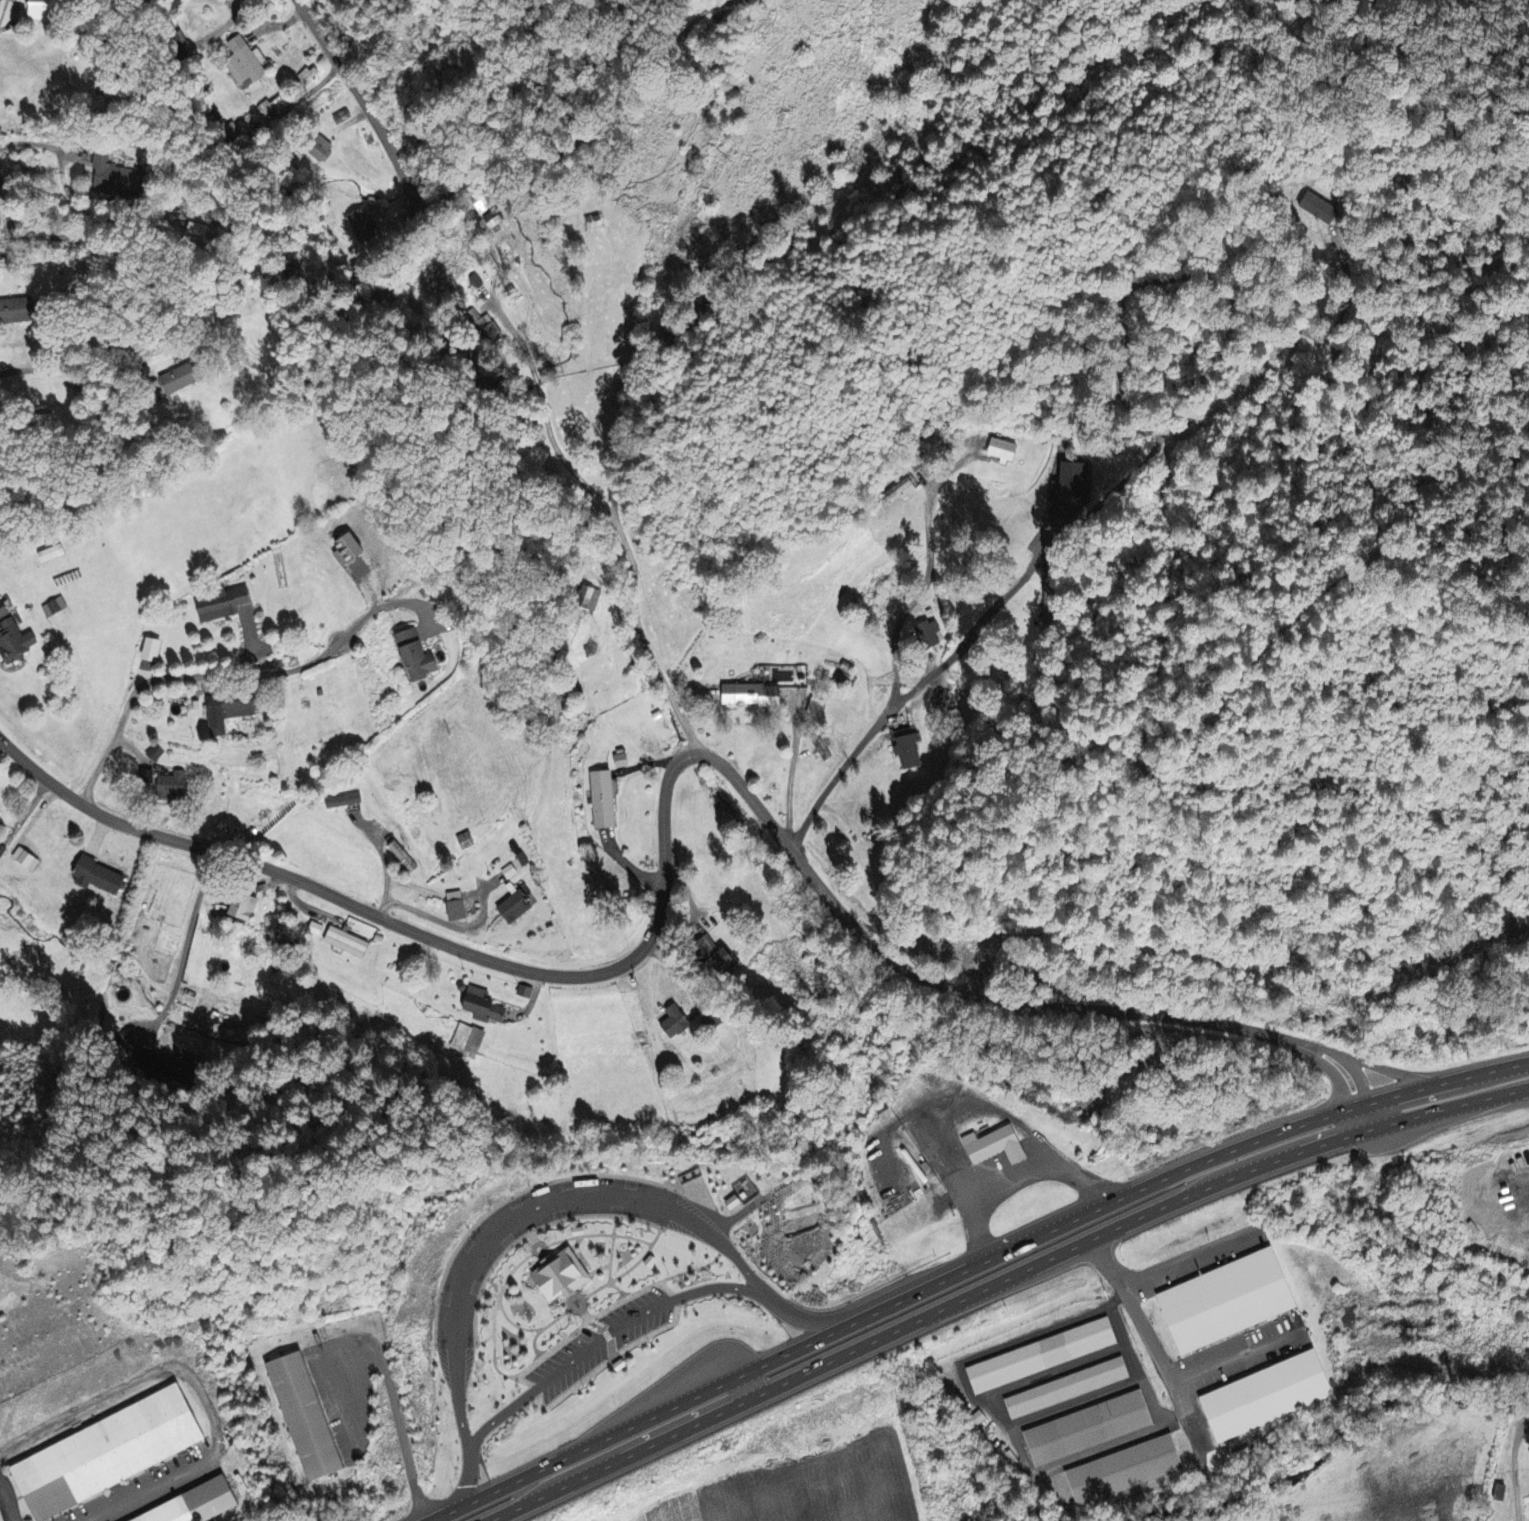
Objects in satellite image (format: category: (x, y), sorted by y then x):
building: (46, 8)
road: (706, 8)
road: (273, 25)
building: (246, 65)
road: (300, 96)
road: (363, 103)
road: (564, 118)
road: (39, 145)
building: (118, 178)
building: (6, 198)
building: (1319, 210)
building: (360, 227)
road: (88, 231)
road: (1348, 286)
building: (18, 311)
road: (19, 369)
building: (190, 376)
road: (630, 409)
building: (1002, 450)
road: (1096, 500)
road: (611, 518)
building: (351, 552)
building: (52, 555)
road: (923, 577)
building: (226, 607)
building: (56, 609)
building: (5, 611)
building: (19, 642)
building: (154, 651)
building: (421, 657)
road: (233, 673)
building: (755, 697)
building: (233, 712)
building: (824, 749)
building: (910, 749)
building: (157, 754)
building: (622, 762)
road: (790, 775)
building: (175, 787)
building: (605, 801)
building: (346, 803)
building: (0, 815)
building: (468, 842)
building: (404, 858)
road: (382, 861)
building: (511, 873)
building: (103, 879)
building: (459, 908)
building: (517, 908)
building: (246, 910)
road: (412, 931)
building: (349, 944)
road: (186, 946)
building: (528, 993)
road: (990, 997)
building: (486, 1008)
building: (679, 1024)
road: (1370, 1115)
building: (999, 1146)
building: (733, 1200)
road: (531, 1207)
building: (578, 1229)
road: (532, 1230)
road: (597, 1234)
road: (531, 1238)
road: (576, 1243)
road: (533, 1246)
road: (543, 1255)
parking lot: (473, 1259)
road: (611, 1260)
building: (650, 1260)
road: (710, 1262)
road: (974, 1266)
road: (599, 1269)
road: (628, 1270)
building: (559, 1272)
road: (1006, 1284)
road: (571, 1294)
road: (571, 1301)
building: (1230, 1302)
building: (488, 1312)
parking lot: (640, 1314)
road: (494, 1315)
road: (506, 1317)
road: (833, 1320)
road: (544, 1327)
road: (603, 1328)
flagpole: (564, 1332)
flagpole: (561, 1334)
road: (605, 1335)
road: (485, 1339)
building: (1042, 1357)
parking lot: (569, 1362)
building: (619, 1363)
road: (1169, 1372)
road: (532, 1384)
building: (1068, 1389)
building: (1269, 1398)
building: (304, 1413)
building: (1090, 1429)
building: (106, 1451)
building: (1125, 1471)
road: (1517, 1472)
road: (145, 1488)
road: (468, 1488)
building: (1504, 1492)
building: (193, 1502)
road: (7, 1503)

